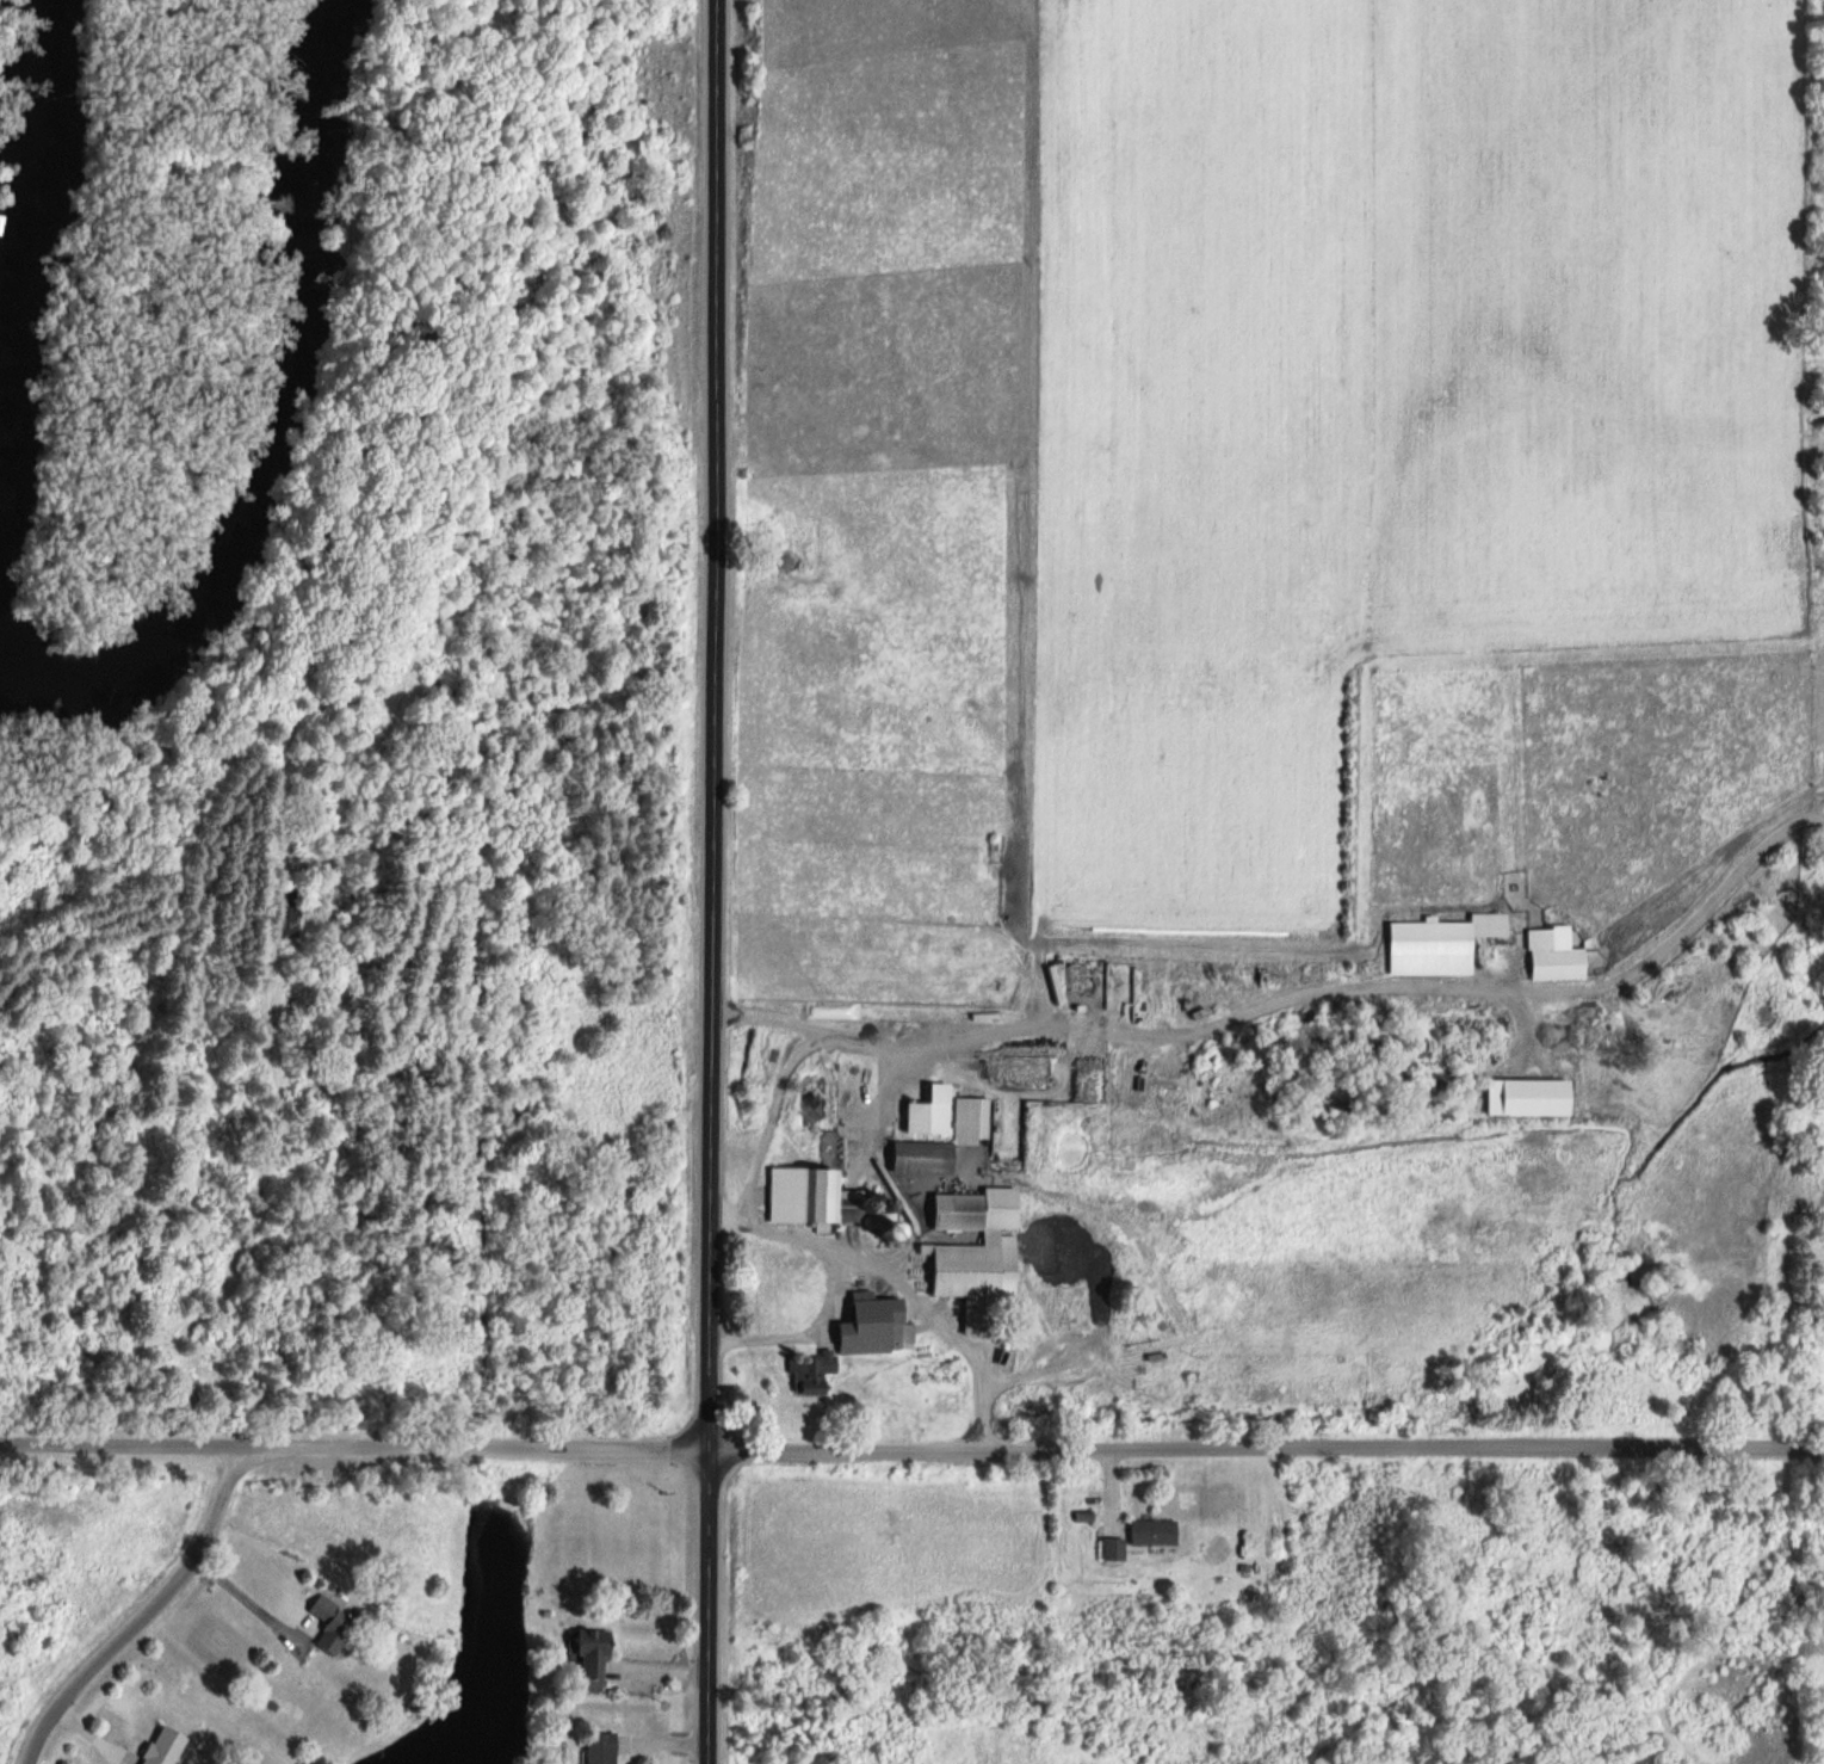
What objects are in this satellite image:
road: (715, 882)
building: (284, 913)
building: (1437, 945)
building: (1551, 960)
road: (1093, 1024)
building: (923, 1120)
building: (969, 1121)
road: (766, 1124)
building: (809, 1199)
building: (973, 1257)
road: (828, 1288)
road: (942, 1326)
building: (901, 1336)
building: (870, 1337)
building: (810, 1375)
road: (911, 1452)
building: (1151, 1532)
building: (1111, 1549)
road: (248, 1600)
road: (148, 1614)
building: (327, 1626)
building: (588, 1660)
building: (159, 1746)
building: (598, 1748)

